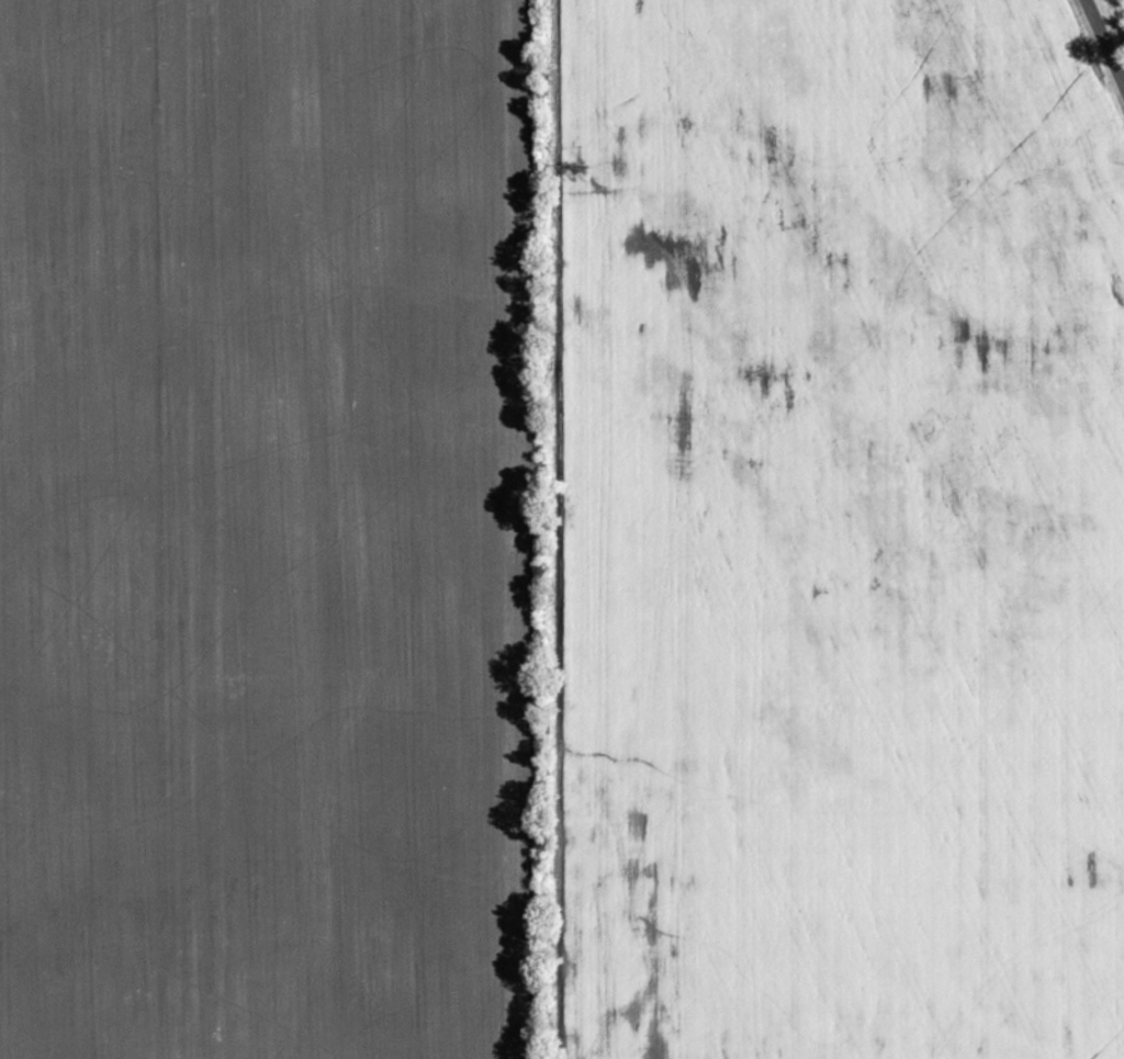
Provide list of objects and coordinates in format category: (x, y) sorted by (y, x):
road: (1106, 38)

